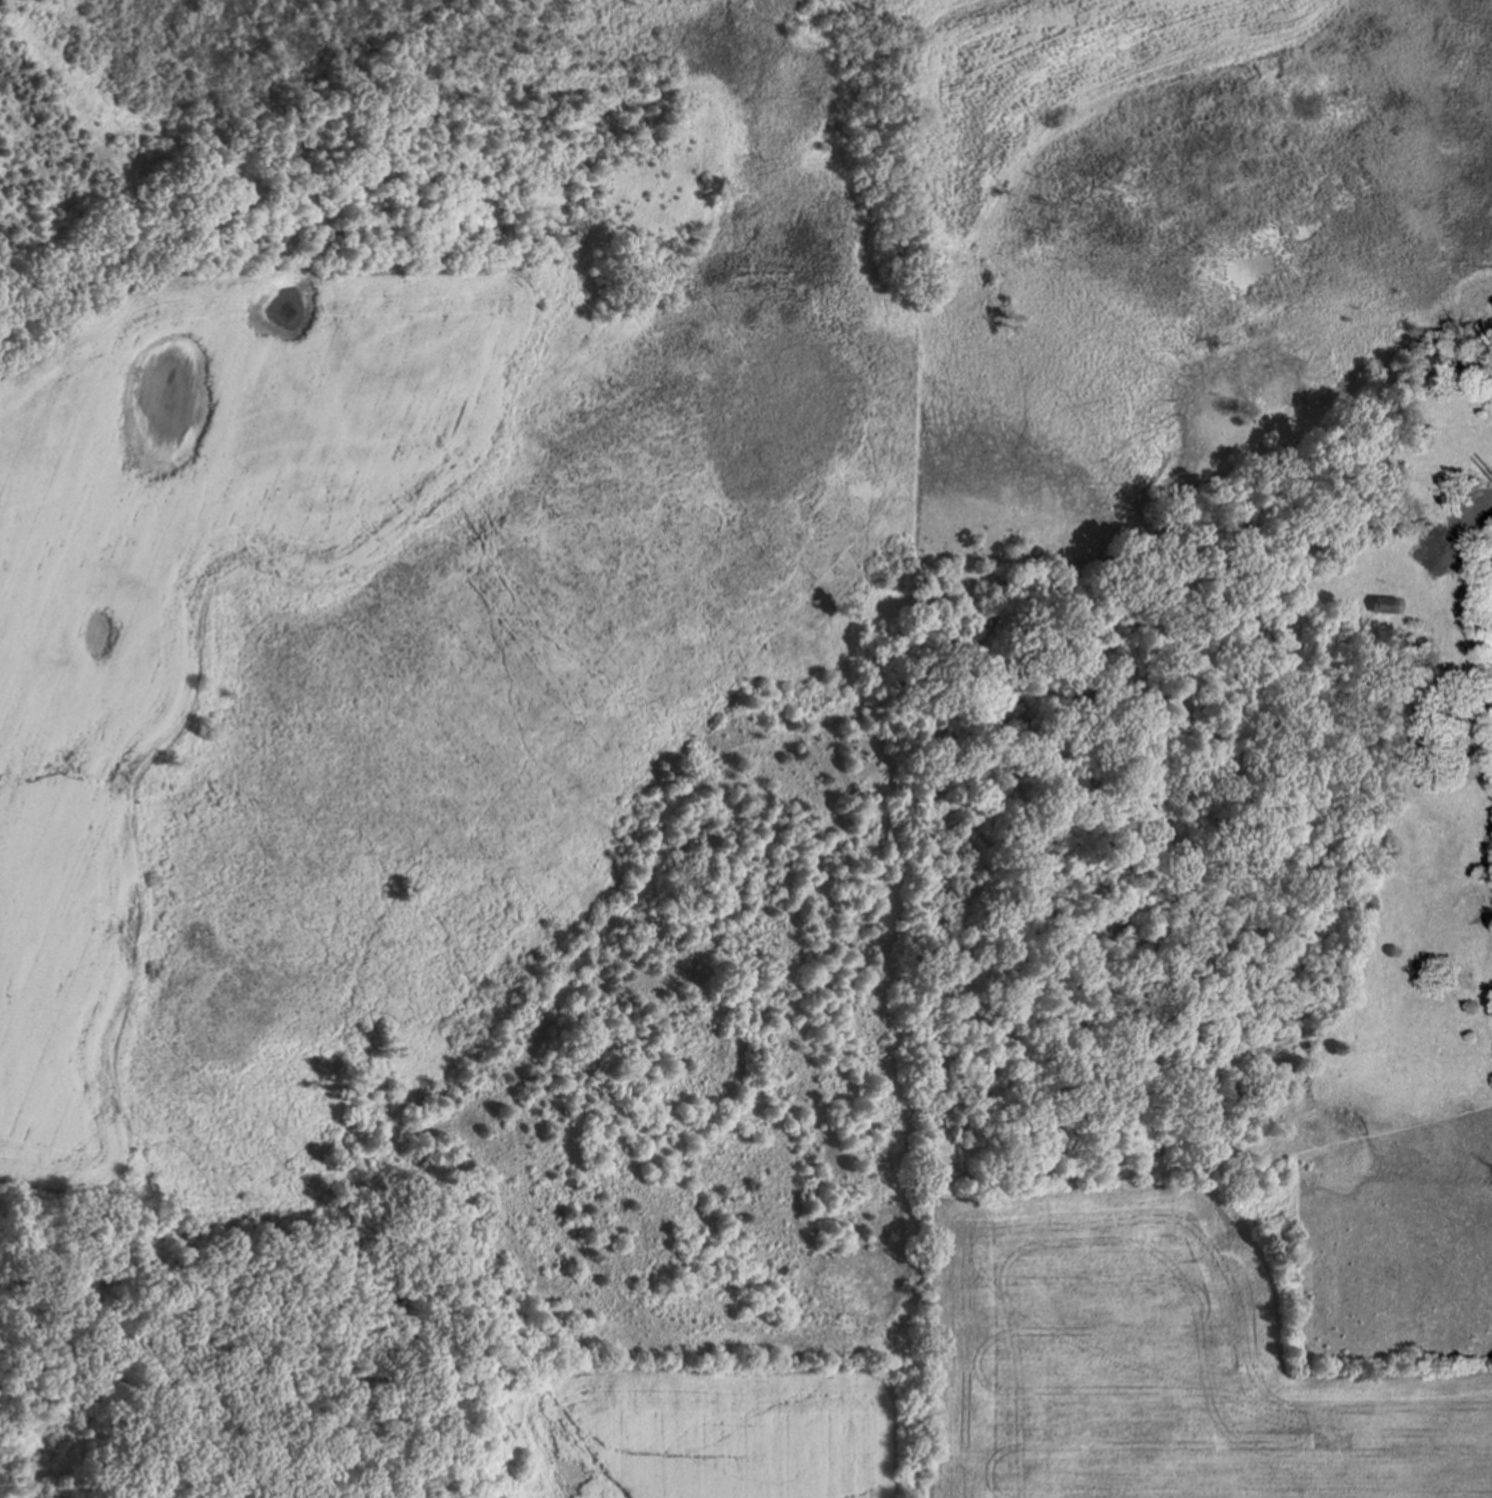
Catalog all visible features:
building: (1382, 602)

